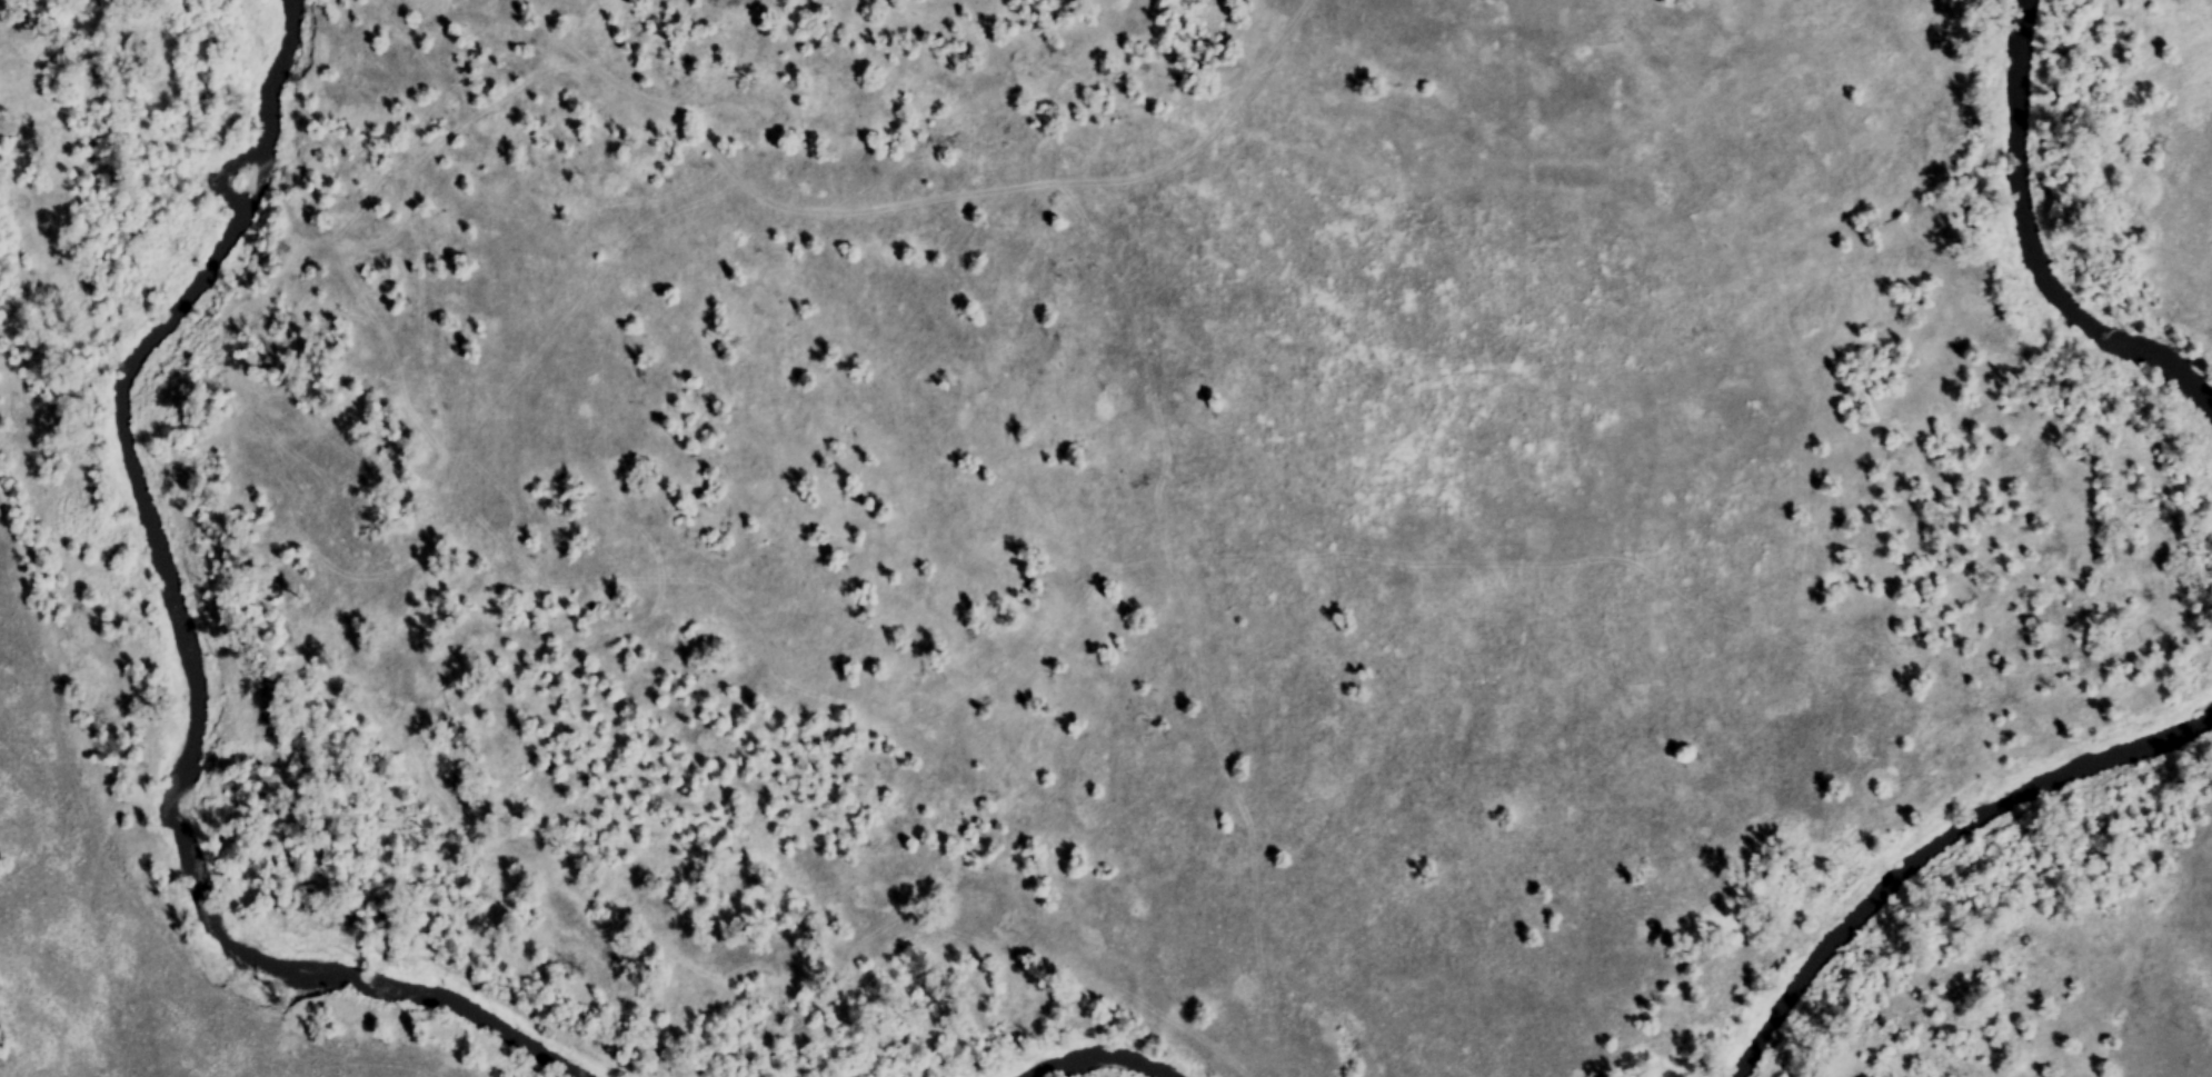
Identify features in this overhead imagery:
river: (2029, 250)
road: (819, 353)
river: (186, 646)
river: (1934, 842)
river: (1099, 1055)

